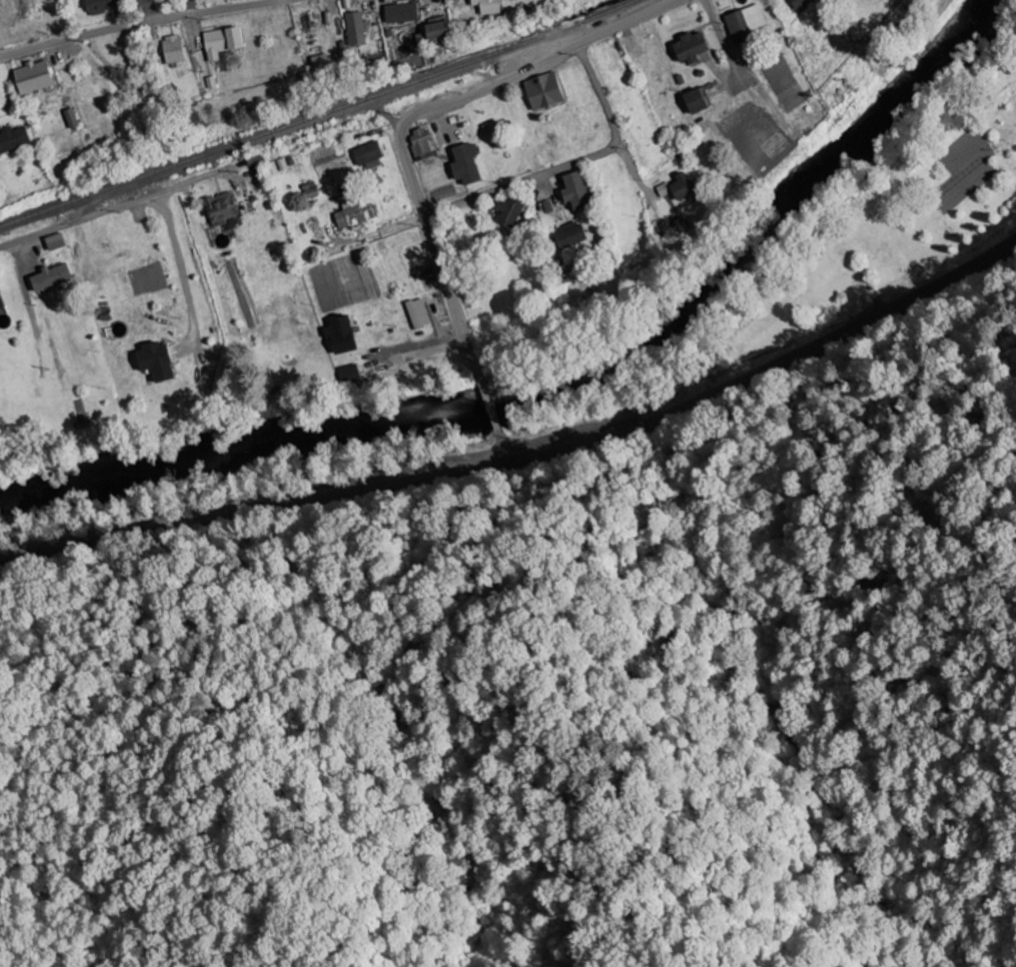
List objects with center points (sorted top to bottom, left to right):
building: (449, 0)
building: (806, 4)
building: (102, 6)
building: (488, 7)
building: (402, 13)
road: (138, 22)
building: (748, 23)
building: (356, 30)
building: (437, 32)
building: (236, 40)
road: (723, 41)
building: (215, 45)
building: (693, 49)
building: (174, 50)
building: (402, 55)
building: (34, 78)
building: (545, 92)
building: (698, 102)
railway: (317, 111)
road: (413, 117)
building: (72, 119)
building: (14, 140)
building: (422, 144)
building: (369, 154)
building: (255, 161)
road: (571, 164)
building: (468, 165)
building: (686, 187)
building: (580, 193)
road: (22, 199)
building: (223, 209)
building: (513, 213)
building: (357, 215)
road: (85, 218)
building: (571, 236)
building: (57, 243)
building: (564, 273)
building: (53, 278)
building: (2, 301)
building: (419, 313)
building: (344, 334)
building: (158, 361)
road: (768, 369)
building: (350, 375)
river: (566, 387)
road: (253, 512)

